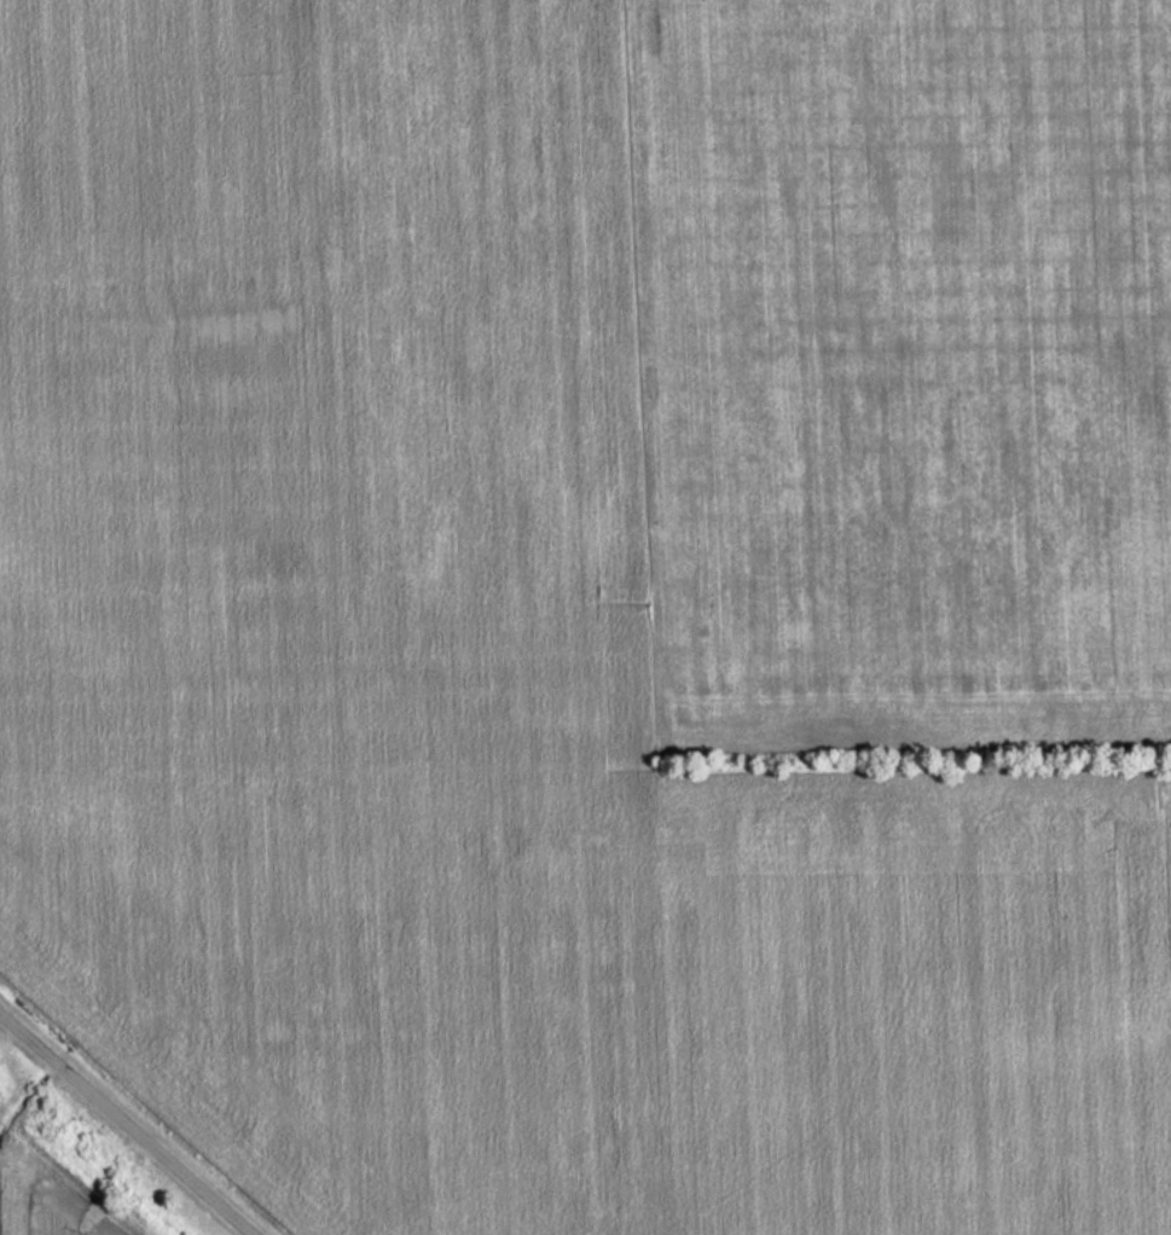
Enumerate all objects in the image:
crop: (900, 369)
crop: (479, 695)
road: (126, 1124)
railway: (71, 1172)
crop: (62, 1211)

